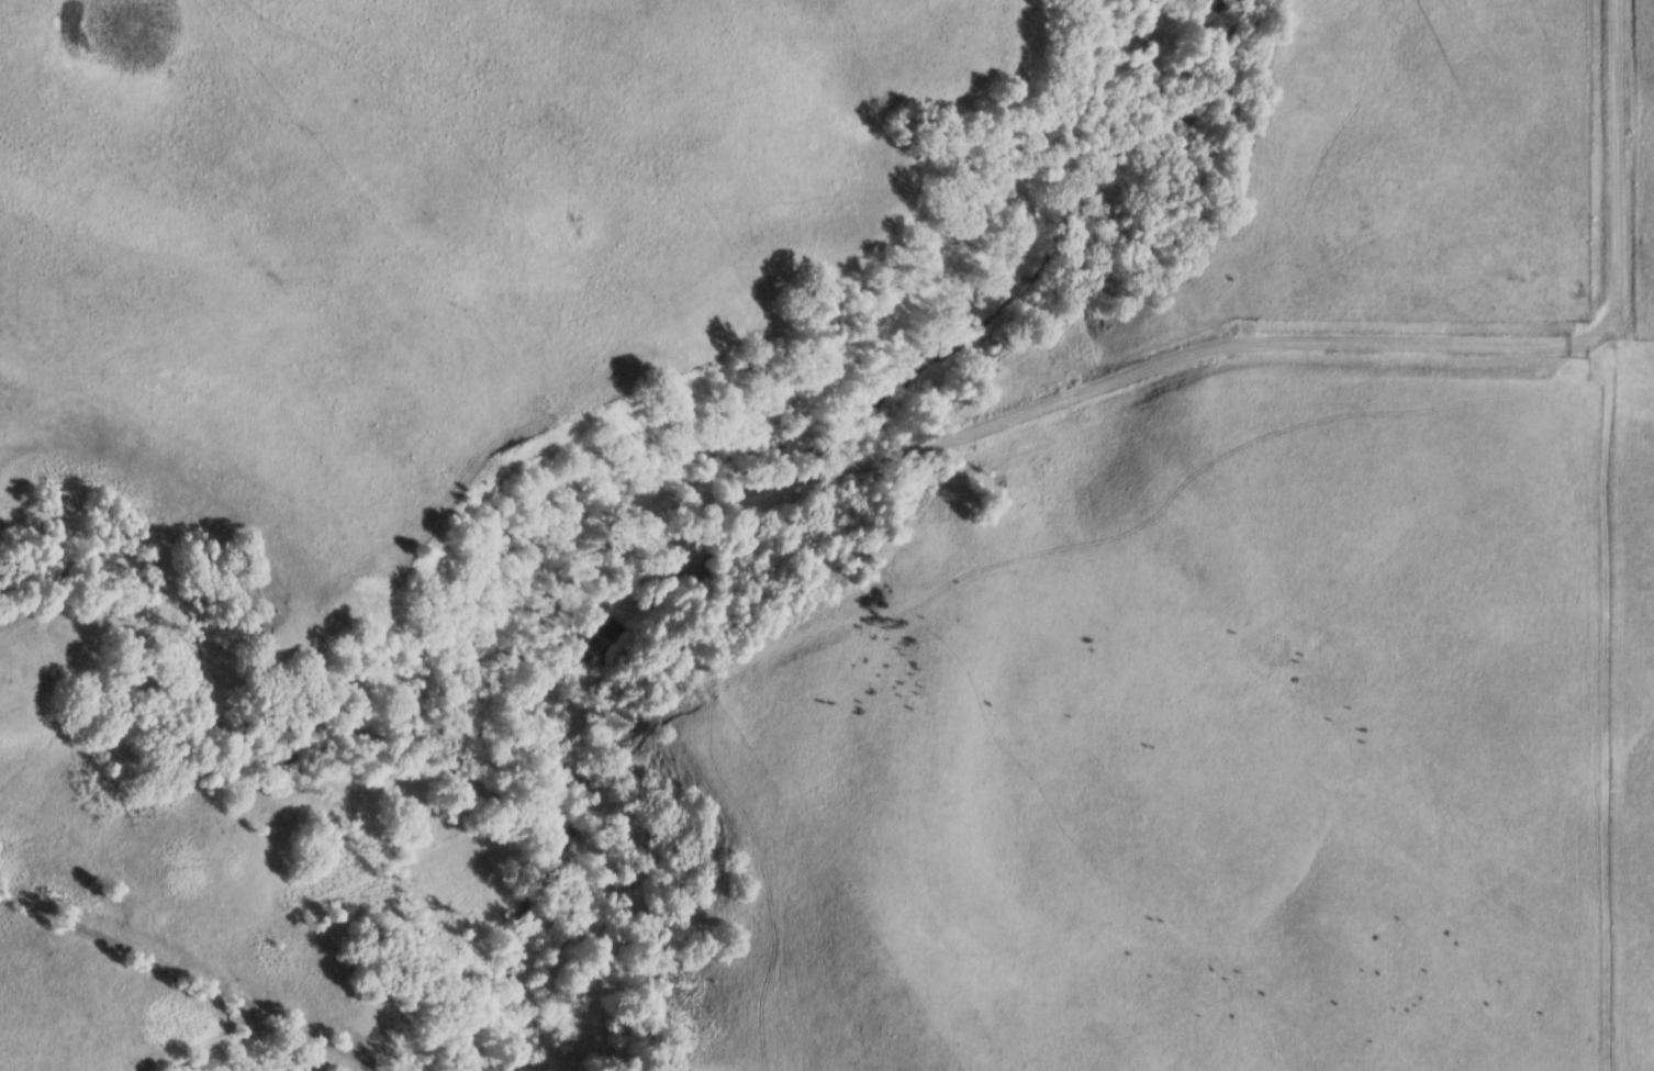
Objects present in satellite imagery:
road: (1616, 164)
road: (1058, 402)
building: (733, 560)
building: (690, 579)
building: (614, 629)
building: (595, 652)

